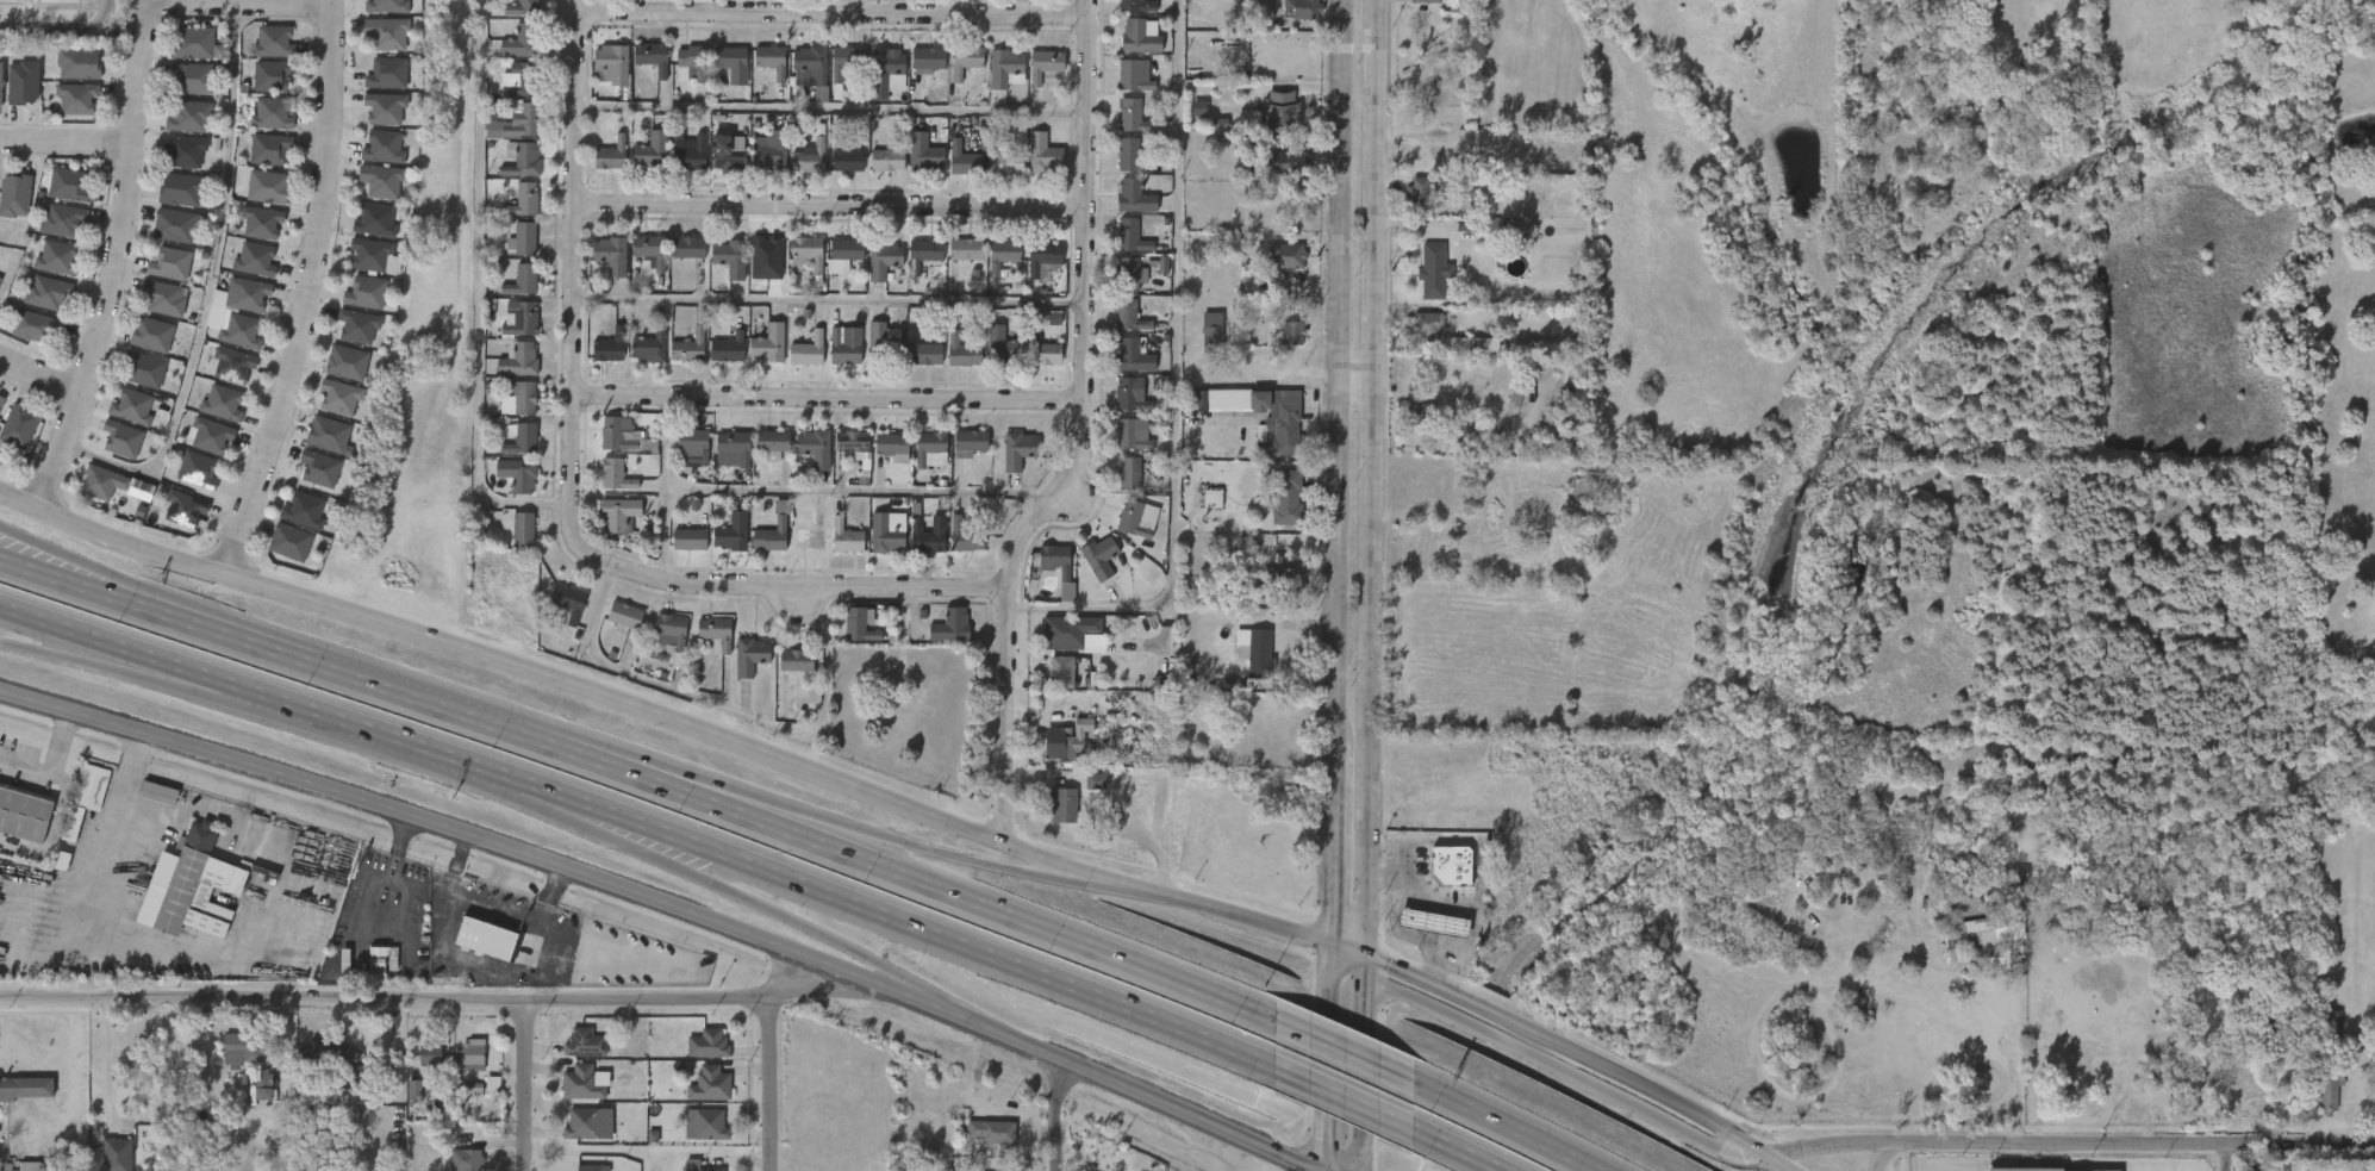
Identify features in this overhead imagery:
building: (1426, 0)
building: (1265, 1)
building: (31, 5)
building: (1137, 5)
building: (386, 6)
building: (525, 8)
building: (1296, 10)
building: (1121, 13)
building: (512, 14)
road: (835, 14)
building: (1286, 19)
road: (61, 27)
building: (2371, 30)
building: (389, 33)
building: (1136, 38)
building: (523, 41)
building: (272, 42)
building: (195, 44)
building: (373, 45)
building: (1126, 49)
building: (261, 54)
building: (509, 54)
building: (183, 55)
building: (729, 57)
building: (648, 58)
building: (771, 58)
building: (928, 58)
building: (966, 60)
building: (609, 61)
building: (812, 61)
building: (846, 61)
building: (690, 62)
building: (77, 63)
building: (1045, 64)
building: (1005, 68)
building: (638, 69)
building: (884, 70)
building: (914, 70)
building: (758, 71)
building: (952, 73)
building: (389, 74)
building: (833, 74)
building: (66, 75)
building: (270, 75)
building: (719, 75)
building: (1135, 75)
building: (0, 76)
building: (597, 76)
building: (677, 76)
building: (1030, 76)
building: (197, 79)
building: (796, 79)
building: (992, 81)
building: (20, 82)
building: (528, 82)
building: (374, 86)
building: (258, 87)
building: (1121, 87)
building: (179, 91)
building: (506, 92)
building: (75, 98)
road: (836, 107)
building: (1280, 108)
building: (63, 110)
building: (387, 110)
building: (274, 114)
building: (1134, 116)
building: (192, 117)
building: (372, 120)
building: (516, 123)
building: (1259, 124)
building: (258, 126)
building: (176, 129)
building: (1120, 129)
building: (505, 136)
building: (1234, 142)
road: (67, 143)
building: (386, 148)
building: (686, 148)
building: (270, 149)
building: (767, 149)
building: (648, 150)
building: (187, 151)
building: (922, 152)
building: (1040, 152)
building: (611, 154)
building: (725, 154)
building: (811, 154)
building: (1128, 154)
building: (846, 156)
building: (370, 158)
building: (522, 158)
building: (961, 158)
building: (884, 160)
building: (256, 161)
building: (173, 162)
building: (638, 162)
building: (1003, 162)
building: (1286, 162)
building: (755, 163)
building: (713, 164)
building: (911, 164)
building: (677, 166)
building: (1029, 166)
building: (1115, 166)
building: (598, 167)
building: (796, 169)
road: (131, 170)
building: (509, 170)
building: (834, 172)
building: (873, 172)
building: (950, 172)
building: (1276, 175)
building: (992, 176)
building: (384, 180)
building: (67, 185)
building: (269, 186)
building: (183, 188)
building: (1416, 192)
building: (368, 193)
building: (14, 195)
building: (55, 197)
building: (1134, 197)
building: (254, 199)
building: (520, 199)
building: (168, 201)
building: (1405, 204)
road: (837, 208)
building: (1120, 208)
building: (61, 219)
building: (378, 219)
building: (263, 222)
building: (495, 223)
building: (176, 225)
building: (48, 231)
building: (362, 232)
building: (249, 233)
building: (1132, 236)
building: (163, 237)
building: (520, 239)
building: (687, 247)
building: (1117, 248)
building: (966, 249)
building: (650, 250)
building: (509, 251)
building: (808, 251)
building: (373, 253)
building: (924, 253)
building: (1001, 254)
building: (611, 255)
building: (843, 255)
building: (1285, 255)
building: (55, 257)
building: (730, 257)
building: (257, 259)
building: (884, 259)
building: (675, 260)
building: (1043, 260)
building: (952, 261)
building: (169, 262)
building: (637, 262)
building: (793, 264)
building: (830, 266)
building: (910, 266)
building: (598, 267)
building: (989, 267)
building: (361, 268)
building: (1272, 268)
building: (43, 269)
building: (1029, 269)
building: (717, 270)
building: (1430, 270)
building: (242, 272)
building: (869, 272)
building: (1130, 274)
building: (157, 275)
building: (1148, 276)
building: (522, 281)
building: (1420, 282)
building: (1118, 285)
building: (46, 292)
road: (310, 292)
building: (364, 292)
building: (509, 292)
building: (245, 294)
road: (208, 295)
building: (163, 298)
road: (836, 299)
road: (476, 301)
building: (35, 304)
building: (353, 305)
building: (233, 306)
building: (150, 310)
building: (206, 310)
building: (1129, 314)
building: (523, 320)
building: (35, 325)
building: (357, 326)
building: (1426, 326)
building: (1117, 329)
building: (243, 330)
building: (507, 330)
building: (1290, 332)
building: (154, 334)
building: (1211, 337)
building: (23, 338)
building: (345, 338)
building: (1198, 341)
building: (1413, 341)
building: (879, 342)
building: (227, 343)
building: (768, 344)
building: (139, 345)
building: (609, 345)
building: (649, 345)
building: (1278, 345)
building: (687, 347)
building: (999, 347)
building: (727, 348)
building: (804, 349)
building: (840, 349)
building: (864, 349)
building: (964, 350)
building: (922, 353)
building: (1043, 354)
building: (1133, 355)
building: (755, 356)
building: (989, 357)
building: (596, 359)
building: (635, 359)
building: (675, 359)
building: (518, 360)
building: (715, 360)
building: (829, 361)
building: (349, 362)
building: (794, 362)
building: (948, 363)
building: (235, 365)
building: (1029, 365)
building: (911, 366)
building: (1120, 367)
building: (144, 369)
building: (505, 370)
building: (334, 374)
road: (37, 376)
building: (220, 376)
road: (1172, 378)
road: (1334, 378)
building: (1235, 379)
building: (131, 381)
building: (1129, 395)
building: (342, 397)
building: (524, 398)
road: (836, 399)
building: (2, 403)
building: (224, 403)
building: (133, 406)
building: (1117, 406)
building: (326, 409)
building: (506, 411)
building: (1415, 413)
building: (210, 415)
building: (119, 419)
building: (1279, 421)
building: (20, 425)
building: (1408, 425)
building: (1268, 429)
building: (331, 434)
building: (1133, 434)
building: (212, 435)
road: (1091, 436)
building: (622, 437)
building: (124, 438)
building: (522, 438)
building: (971, 440)
building: (694, 443)
building: (773, 444)
building: (849, 444)
building: (891, 444)
building: (314, 446)
building: (735, 446)
building: (1118, 446)
building: (195, 447)
building: (610, 447)
building: (815, 448)
building: (930, 449)
building: (110, 450)
building: (1015, 450)
building: (509, 451)
building: (956, 453)
building: (759, 455)
building: (722, 457)
building: (879, 457)
building: (915, 457)
building: (680, 460)
building: (800, 460)
building: (1004, 461)
building: (322, 468)
building: (199, 469)
building: (517, 474)
building: (1130, 474)
building: (616, 475)
road: (1370, 477)
building: (306, 480)
building: (105, 481)
building: (185, 481)
building: (1115, 485)
building: (603, 486)
building: (505, 487)
road: (663, 487)
road: (584, 488)
road: (862, 491)
building: (100, 496)
building: (1283, 498)
building: (186, 509)
building: (306, 510)
building: (1272, 510)
building: (1198, 511)
building: (619, 513)
building: (1132, 518)
building: (172, 521)
building: (291, 522)
building: (606, 525)
building: (519, 529)
building: (773, 531)
building: (731, 532)
building: (928, 532)
building: (811, 534)
building: (885, 534)
road: (15, 535)
building: (965, 535)
building: (846, 537)
building: (688, 540)
building: (510, 541)
building: (292, 542)
building: (760, 543)
building: (718, 544)
building: (797, 546)
building: (872, 546)
building: (953, 546)
building: (914, 548)
building: (833, 549)
building: (677, 550)
building: (276, 554)
building: (1098, 555)
building: (1055, 560)
building: (1086, 568)
road: (80, 572)
building: (1045, 579)
building: (1284, 579)
road: (63, 581)
building: (1279, 590)
building: (568, 600)
building: (554, 615)
building: (625, 615)
building: (858, 624)
building: (950, 624)
building: (611, 627)
building: (716, 630)
building: (1066, 631)
building: (673, 635)
building: (847, 636)
building: (937, 637)
building: (657, 642)
building: (702, 643)
road: (113, 644)
building: (750, 654)
road: (58, 655)
building: (1257, 656)
building: (794, 662)
building: (1243, 664)
building: (737, 667)
building: (783, 672)
road: (548, 674)
road: (172, 675)
building: (1048, 683)
road: (397, 693)
road: (728, 711)
road: (375, 731)
building: (1070, 737)
road: (51, 762)
building: (157, 792)
building: (1081, 792)
road: (721, 796)
building: (83, 797)
building: (145, 804)
building: (1060, 806)
road: (572, 812)
building: (23, 814)
building: (1049, 817)
road: (111, 835)
road: (893, 839)
road: (1330, 848)
building: (1452, 864)
building: (49, 872)
road: (1053, 872)
building: (1438, 877)
building: (188, 885)
road: (285, 890)
road: (734, 893)
road: (968, 901)
road: (362, 904)
road: (494, 904)
road: (668, 905)
road: (1210, 907)
road: (1423, 909)
road: (899, 920)
building: (1435, 921)
gas station: (1435, 921)
building: (1420, 934)
building: (485, 938)
road: (1345, 947)
building: (1970, 951)
building: (372, 966)
road: (883, 973)
road: (435, 1003)
building: (2319, 1033)
building: (587, 1044)
building: (707, 1044)
building: (243, 1047)
road: (1566, 1047)
building: (323, 1051)
road: (1340, 1051)
building: (472, 1054)
building: (572, 1054)
building: (694, 1055)
road: (1326, 1055)
road: (1546, 1059)
building: (230, 1060)
road: (1359, 1061)
road: (106, 1063)
building: (316, 1063)
building: (417, 1066)
building: (460, 1066)
road: (2015, 1066)
road: (767, 1082)
building: (2330, 1082)
building: (585, 1084)
building: (710, 1084)
building: (25, 1088)
road: (532, 1089)
building: (479, 1095)
building: (568, 1095)
building: (697, 1095)
road: (1340, 1097)
building: (19, 1098)
building: (250, 1098)
building: (460, 1100)
building: (2315, 1100)
road: (1053, 1111)
building: (585, 1125)
building: (705, 1125)
road: (1503, 1125)
building: (989, 1130)
building: (692, 1135)
building: (978, 1142)
road: (2069, 1145)
road: (1454, 1150)
road: (1882, 1152)
building: (117, 1154)
road: (2232, 1160)
road: (1777, 1163)
building: (453, 1165)
building: (694, 1165)
building: (588, 1167)
building: (2031, 1169)
building: (679, 1170)

